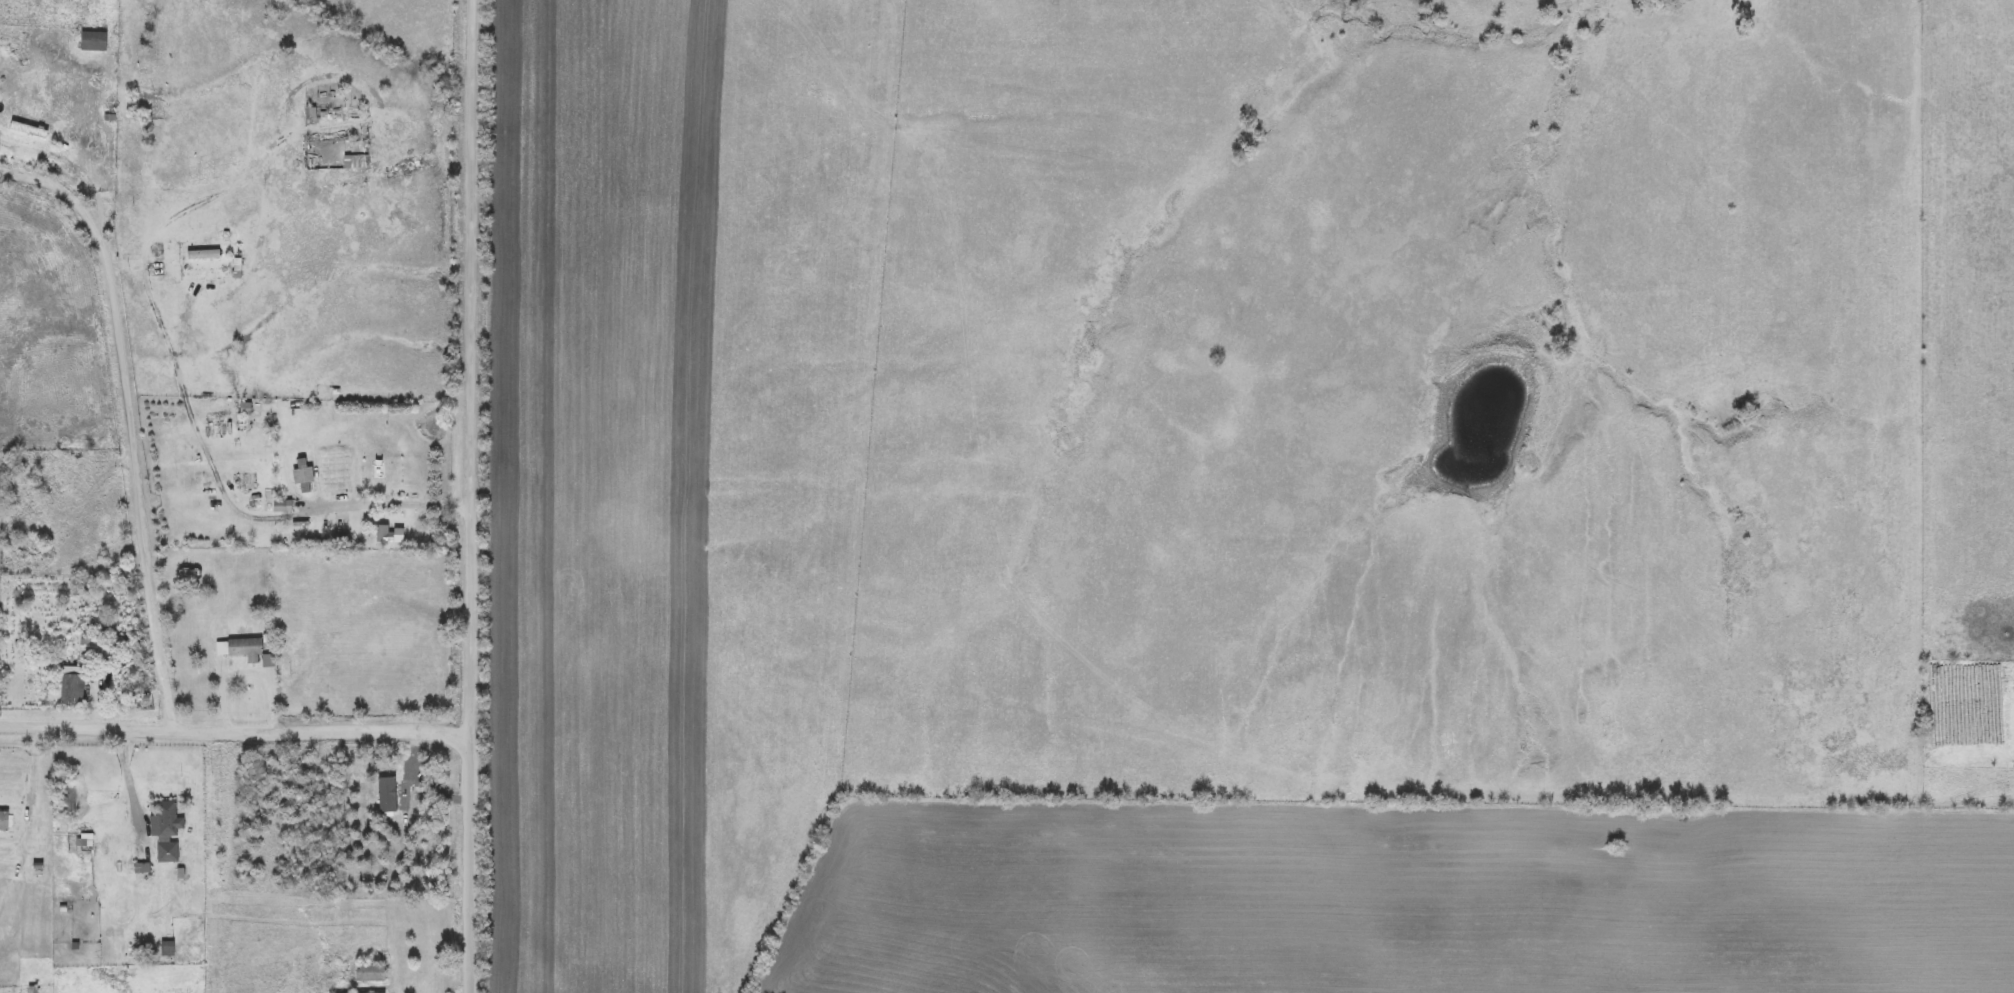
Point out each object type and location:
building: (19, 127)
building: (360, 162)
building: (204, 255)
road: (130, 418)
building: (304, 476)
road: (473, 496)
road: (395, 506)
building: (383, 534)
building: (241, 649)
road: (225, 682)
building: (74, 685)
road: (235, 728)
road: (40, 771)
road: (129, 780)
building: (169, 831)
building: (371, 974)

